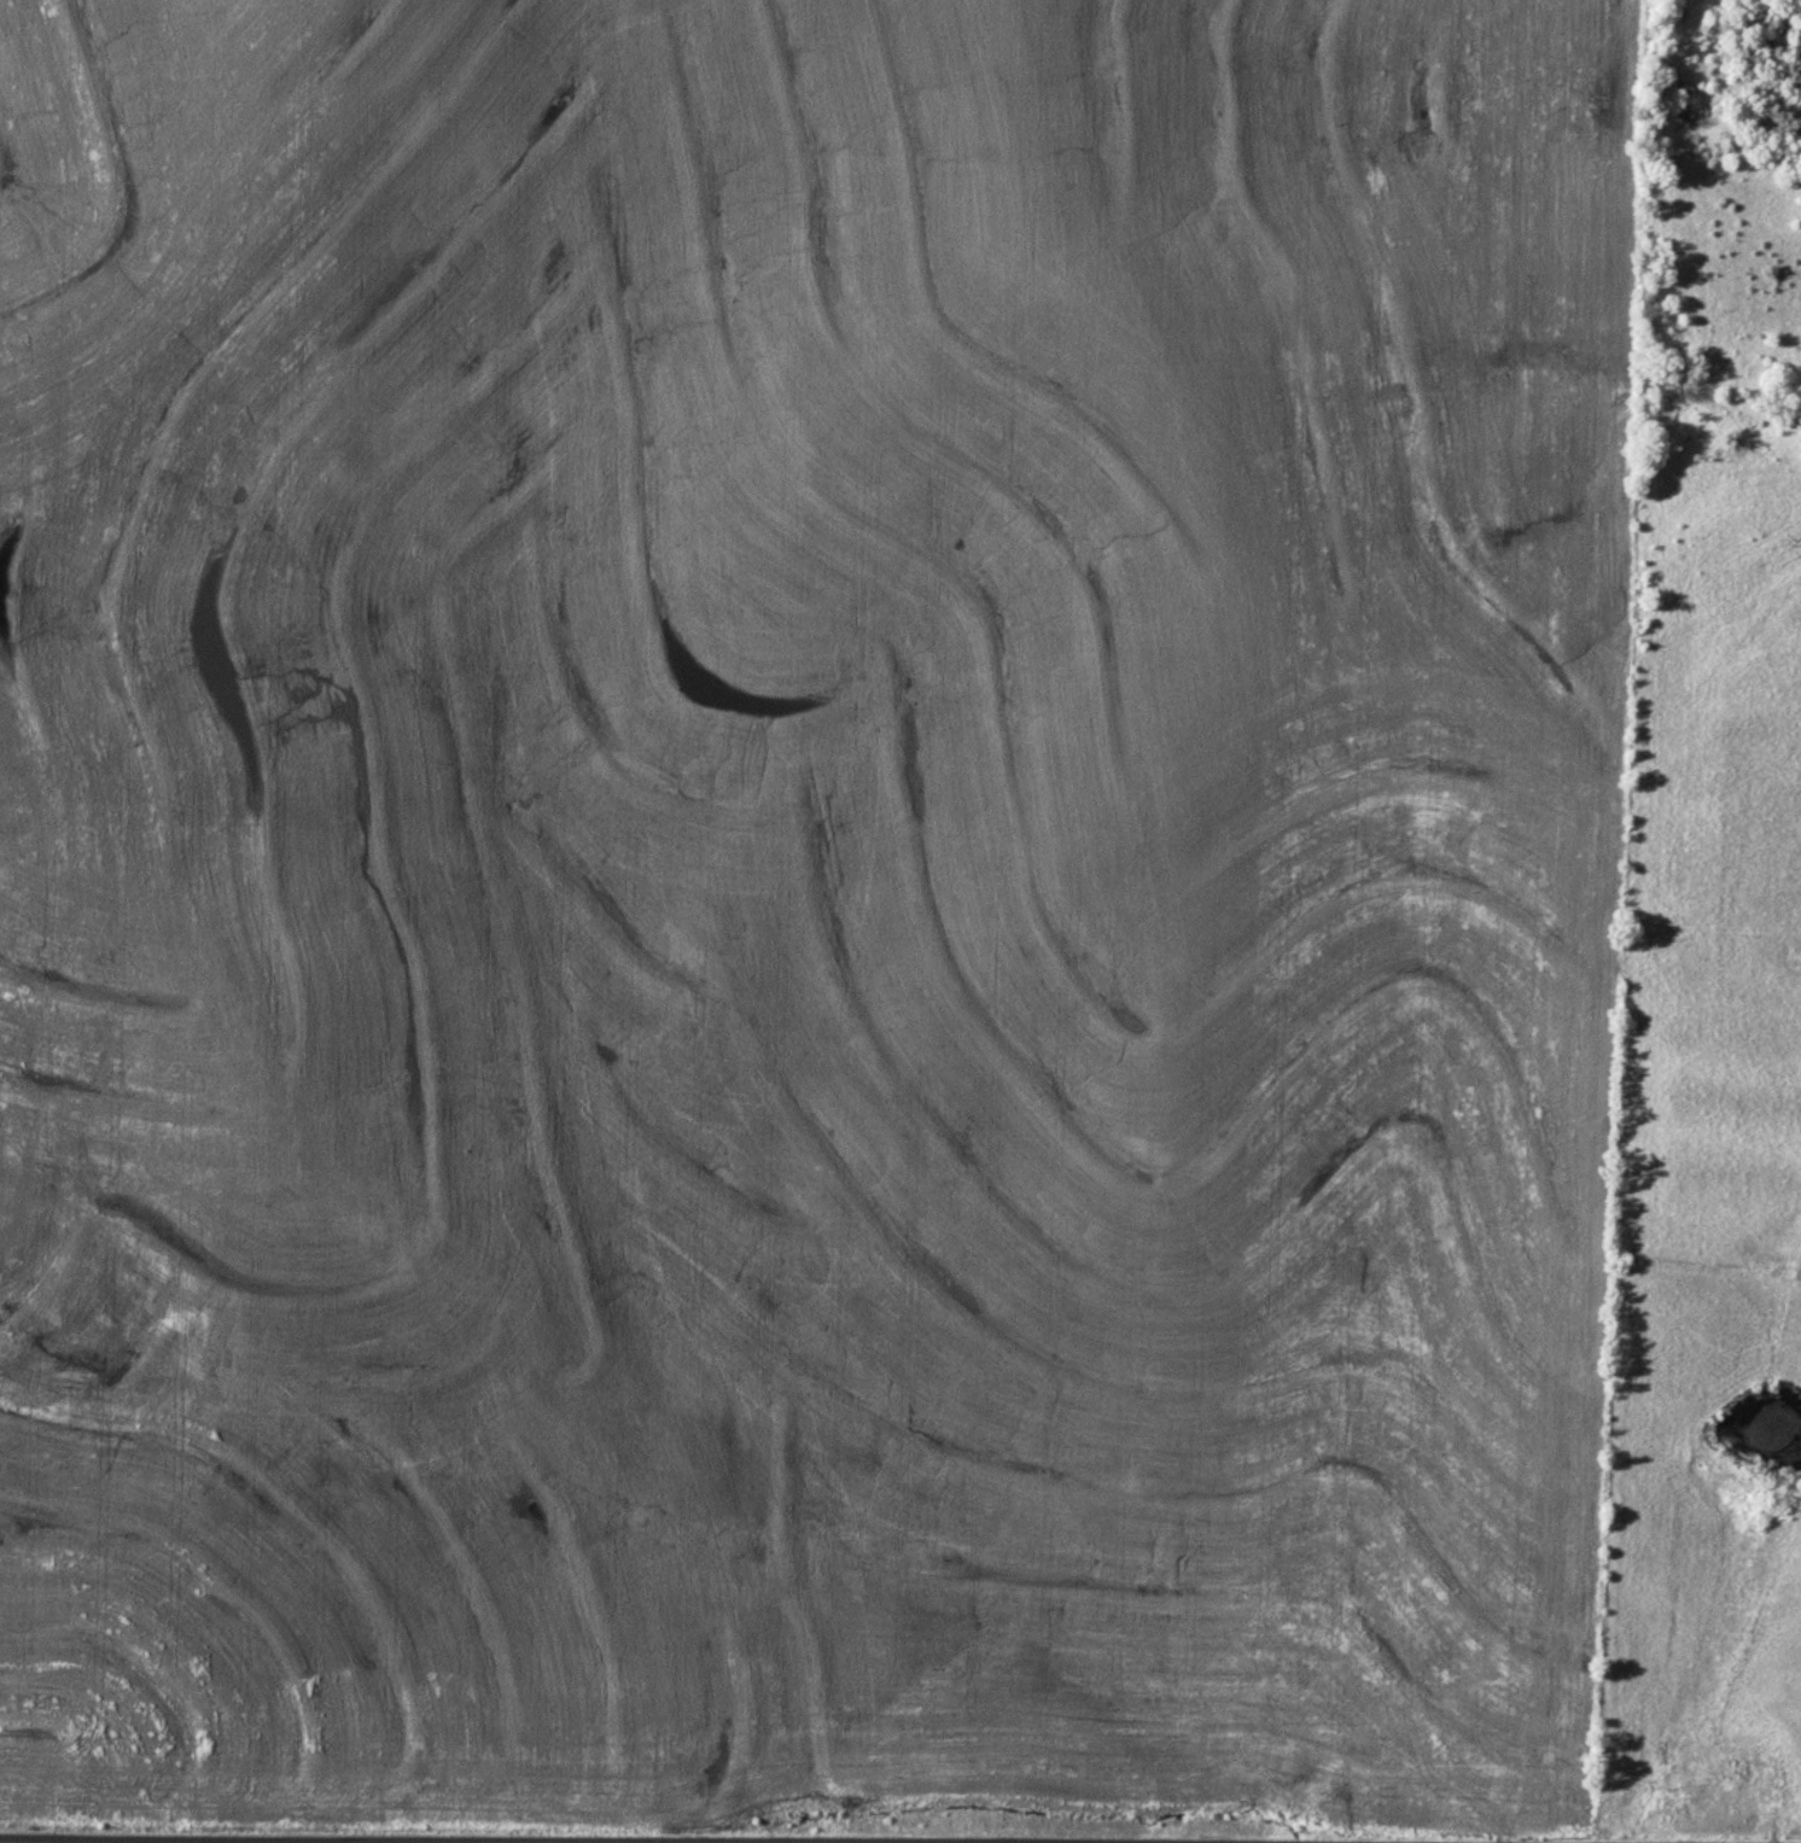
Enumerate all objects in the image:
road: (138, 1842)

